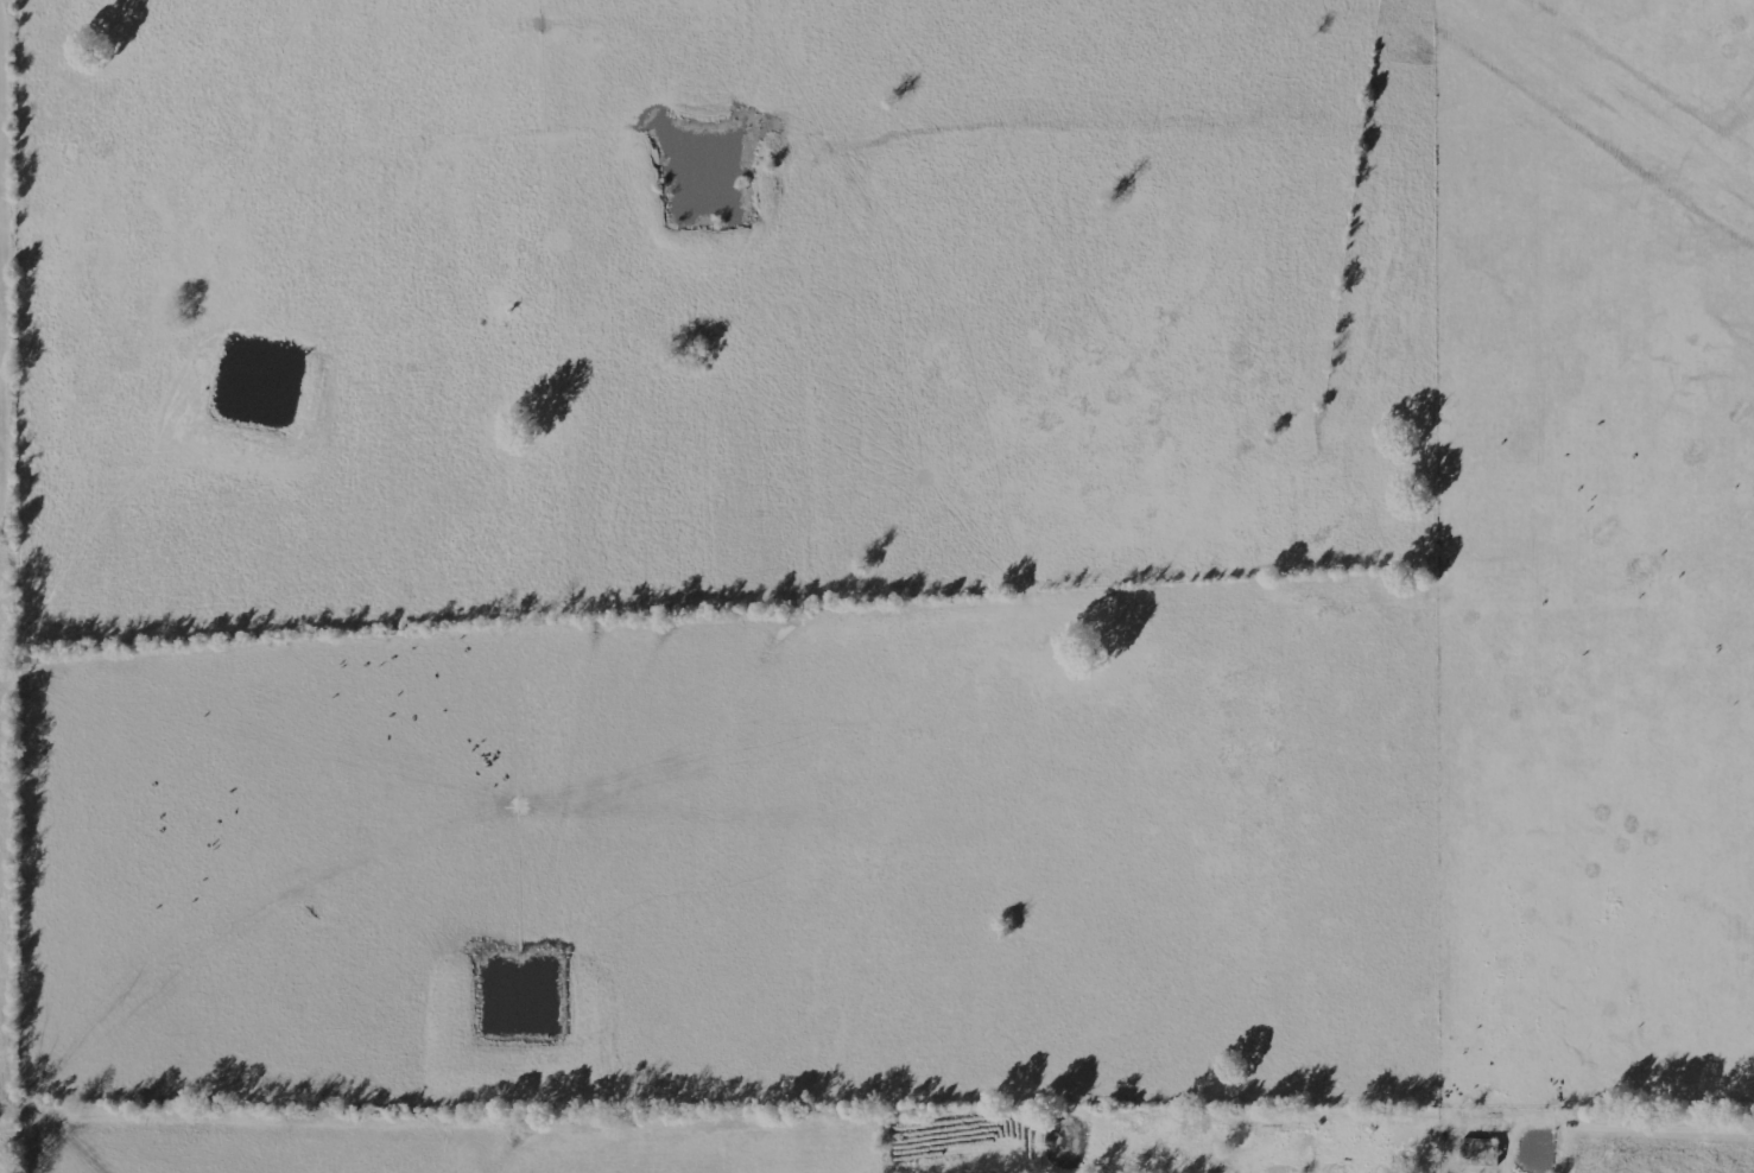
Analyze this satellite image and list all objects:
road: (1663, 1130)
building: (1480, 1150)

